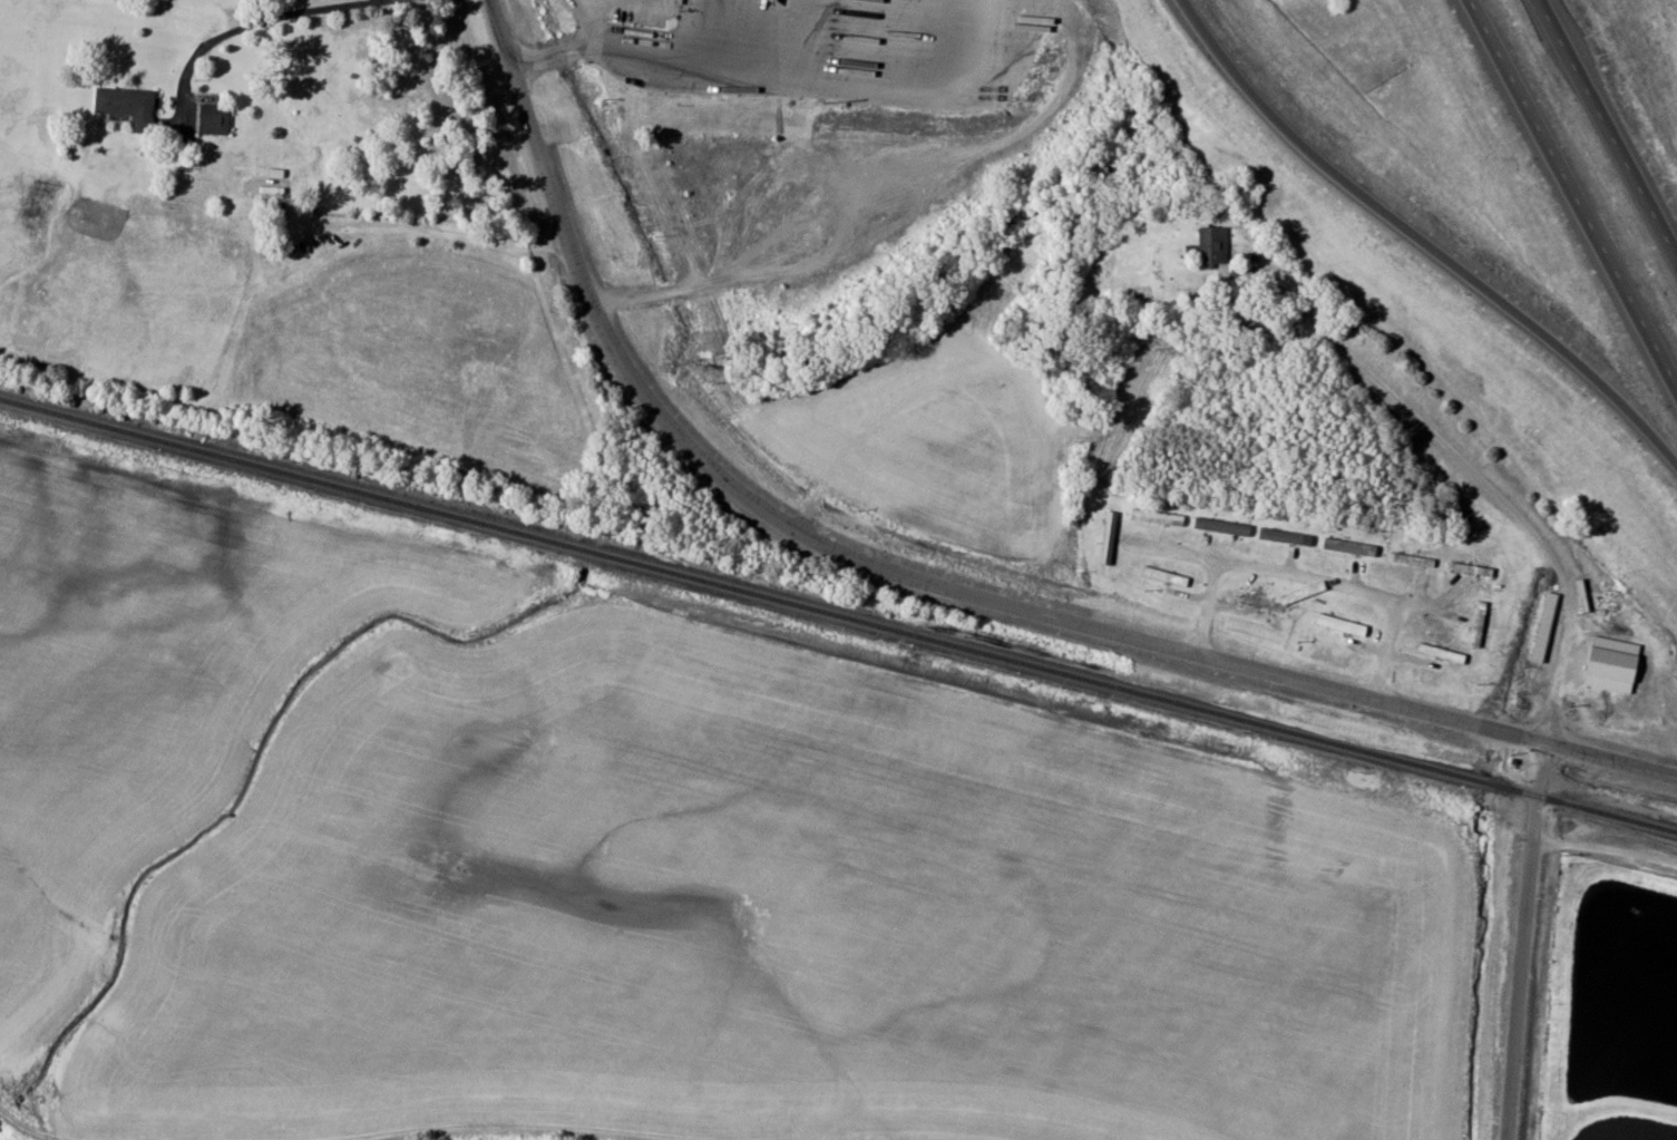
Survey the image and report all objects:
road: (246, 23)
road: (812, 37)
road: (573, 48)
road: (799, 72)
building: (128, 105)
building: (213, 118)
road: (1607, 130)
road: (1570, 201)
road: (894, 222)
building: (1210, 244)
road: (1410, 245)
building: (777, 306)
road: (1482, 480)
building: (1160, 518)
building: (1222, 529)
building: (1108, 536)
building: (1288, 539)
building: (1347, 549)
road: (865, 561)
building: (1413, 561)
building: (1472, 569)
building: (1166, 576)
building: (1262, 604)
railway: (838, 615)
building: (1542, 616)
building: (1479, 624)
building: (1340, 625)
building: (1441, 653)
building: (1610, 656)
road: (1612, 760)
road: (1522, 941)
road: (273, 1123)

